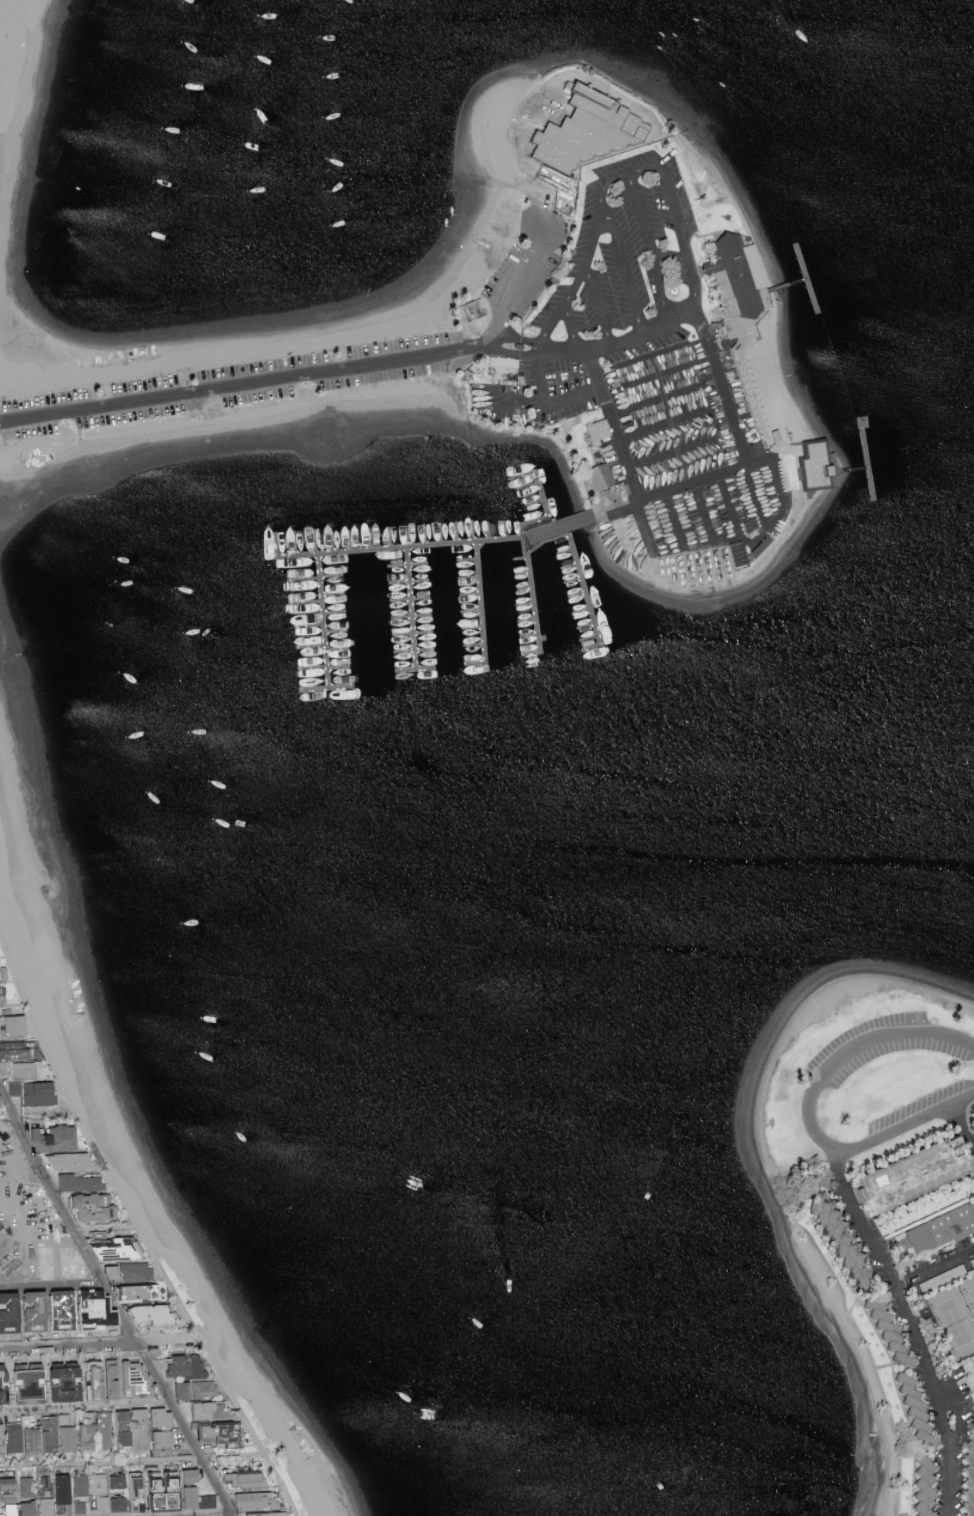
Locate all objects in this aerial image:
building: (586, 132)
road: (677, 219)
road: (647, 246)
road: (587, 254)
pier: (801, 261)
road: (626, 267)
road: (527, 269)
building: (735, 273)
pier: (802, 279)
road: (564, 306)
road: (682, 315)
road: (552, 328)
road: (493, 330)
road: (517, 338)
road: (607, 346)
road: (511, 352)
building: (503, 363)
parking lot: (650, 380)
road: (240, 384)
parking lot: (229, 385)
road: (508, 400)
road: (560, 400)
building: (597, 431)
pier: (867, 457)
building: (815, 467)
road: (771, 472)
road: (713, 473)
building: (598, 477)
pier: (873, 485)
pier: (543, 498)
road: (729, 502)
road: (617, 506)
road: (703, 511)
road: (675, 518)
road: (643, 525)
pier: (436, 544)
pier: (584, 585)
pier: (532, 595)
pier: (479, 600)
pier: (409, 607)
pier: (323, 619)
building: (0, 981)
road: (12, 1005)
building: (13, 1026)
building: (17, 1050)
building: (25, 1070)
building: (40, 1093)
road: (808, 1112)
road: (38, 1121)
building: (972, 1123)
road: (962, 1131)
building: (58, 1138)
building: (904, 1175)
road: (23, 1176)
building: (80, 1182)
building: (96, 1207)
road: (141, 1229)
road: (69, 1230)
building: (942, 1230)
building: (834, 1239)
building: (118, 1248)
building: (131, 1271)
road: (934, 1271)
road: (52, 1285)
building: (136, 1291)
road: (114, 1302)
building: (39, 1311)
building: (156, 1314)
park: (954, 1315)
road: (911, 1328)
building: (888, 1331)
road: (100, 1346)
building: (187, 1367)
building: (138, 1378)
building: (26, 1379)
building: (197, 1389)
road: (85, 1407)
building: (973, 1408)
building: (204, 1410)
building: (914, 1410)
building: (141, 1425)
building: (225, 1435)
building: (44, 1436)
building: (87, 1437)
building: (16, 1438)
building: (68, 1438)
building: (2, 1439)
building: (163, 1440)
road: (132, 1462)
building: (245, 1478)
building: (119, 1481)
building: (9, 1484)
building: (90, 1485)
building: (922, 1486)
building: (65, 1489)
building: (163, 1492)
building: (19, 1496)
building: (258, 1500)
building: (47, 1506)
building: (30, 1508)
building: (80, 1508)
building: (270, 1514)

